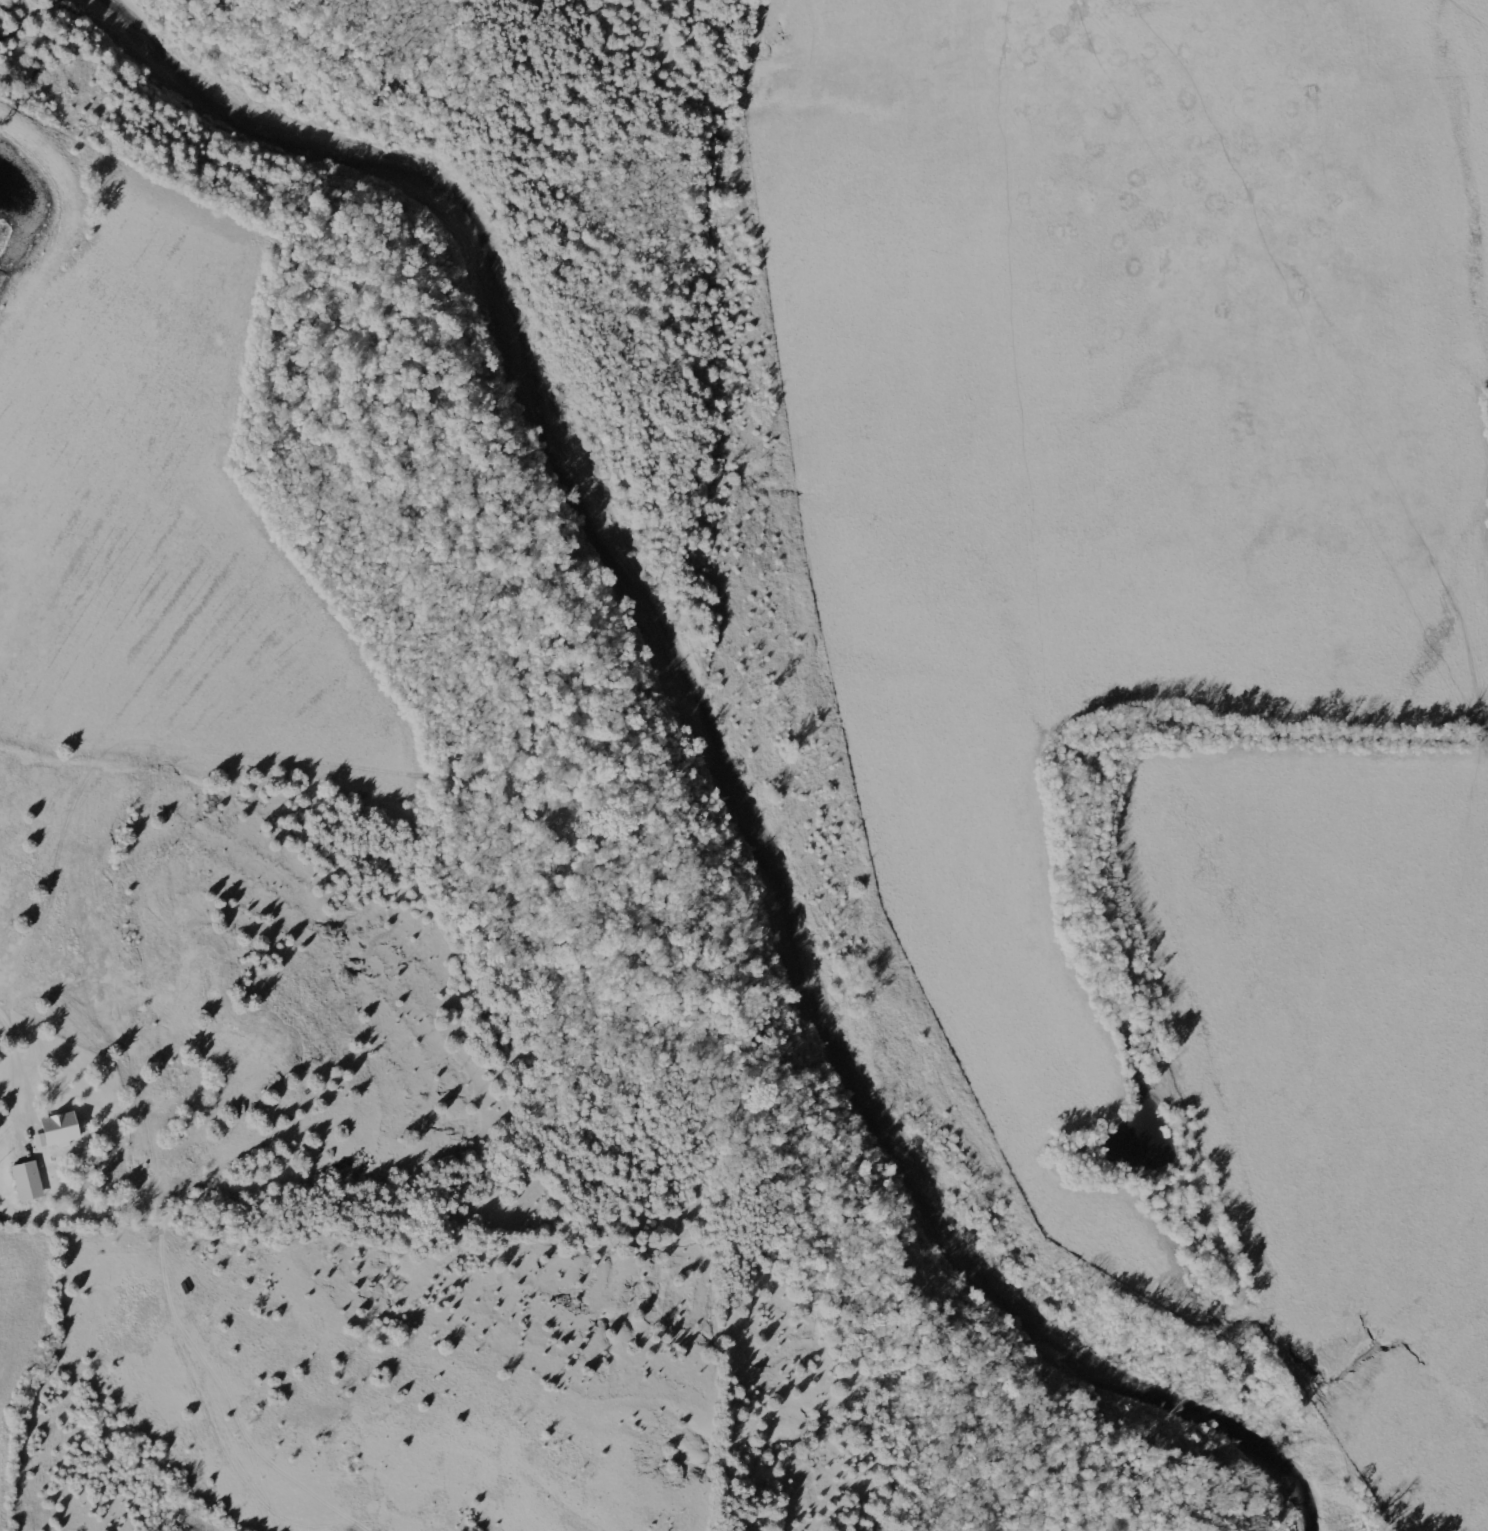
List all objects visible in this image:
building: (59, 1132)
building: (29, 1182)

